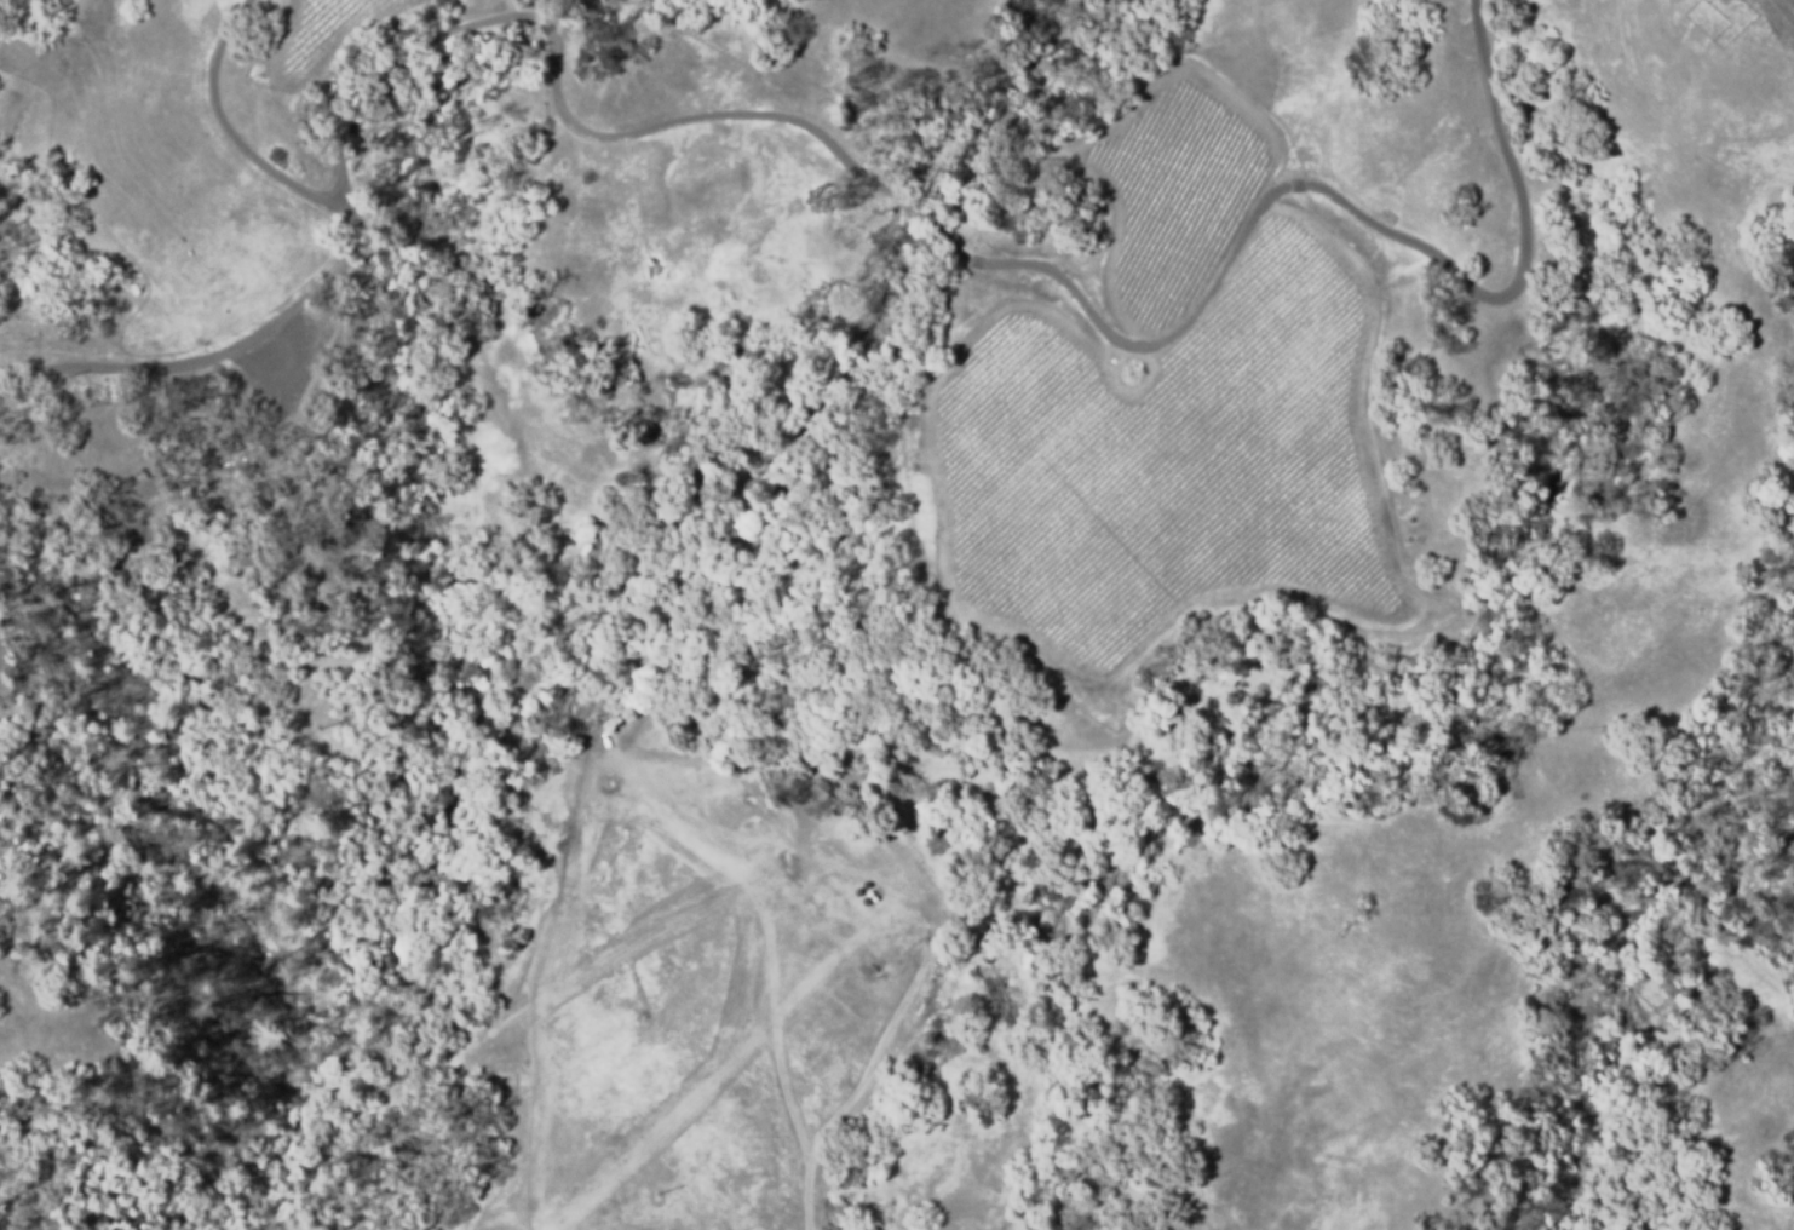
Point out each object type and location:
road: (1, 639)

